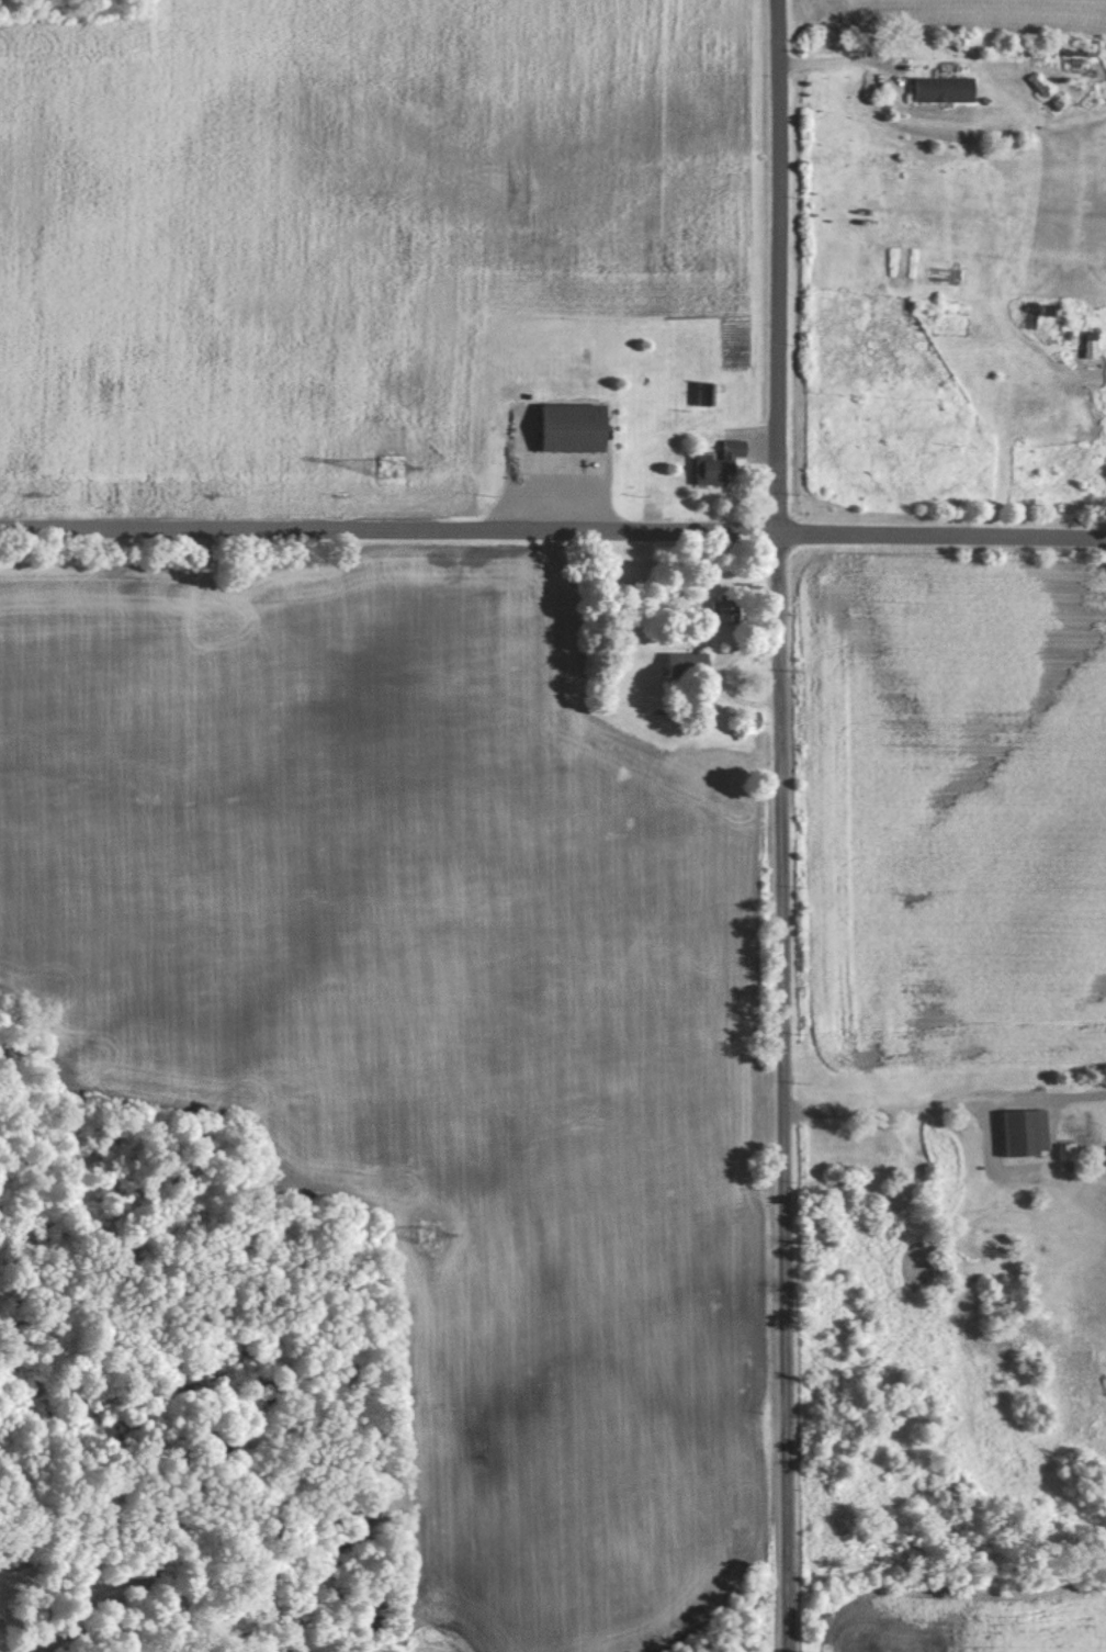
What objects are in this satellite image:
road: (838, 61)
building: (941, 89)
building: (704, 393)
building: (572, 426)
building: (718, 462)
power tower: (390, 464)
road: (553, 533)
building: (722, 609)
building: (676, 664)
building: (748, 719)
road: (787, 825)
road: (948, 1106)
building: (1024, 1131)
building: (1064, 1149)
power tower: (426, 1233)

